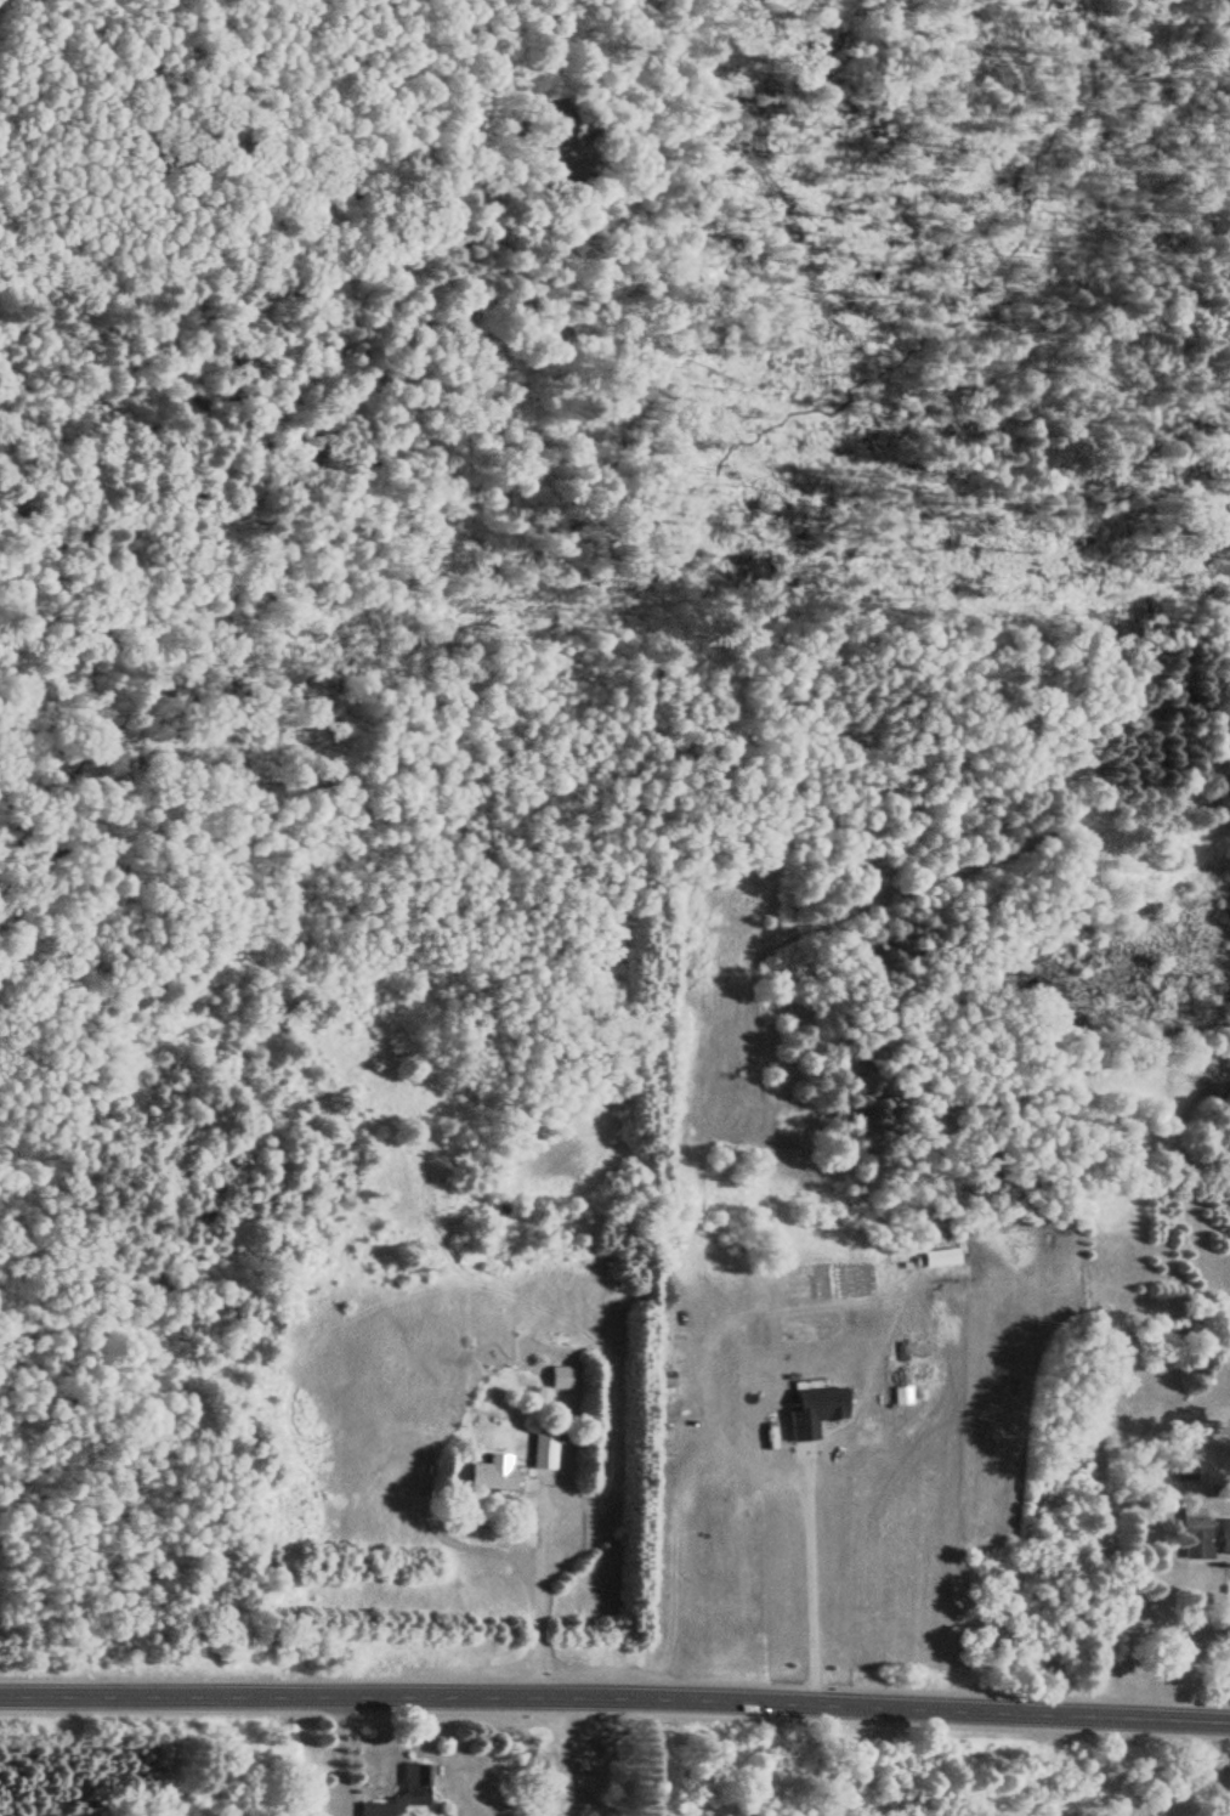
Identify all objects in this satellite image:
road: (648, 12)
road: (324, 15)
building: (557, 1376)
building: (814, 1405)
building: (542, 1449)
building: (491, 1472)
building: (1191, 1538)
building: (1223, 1538)
road: (614, 1696)
building: (414, 1780)
building: (373, 1809)

